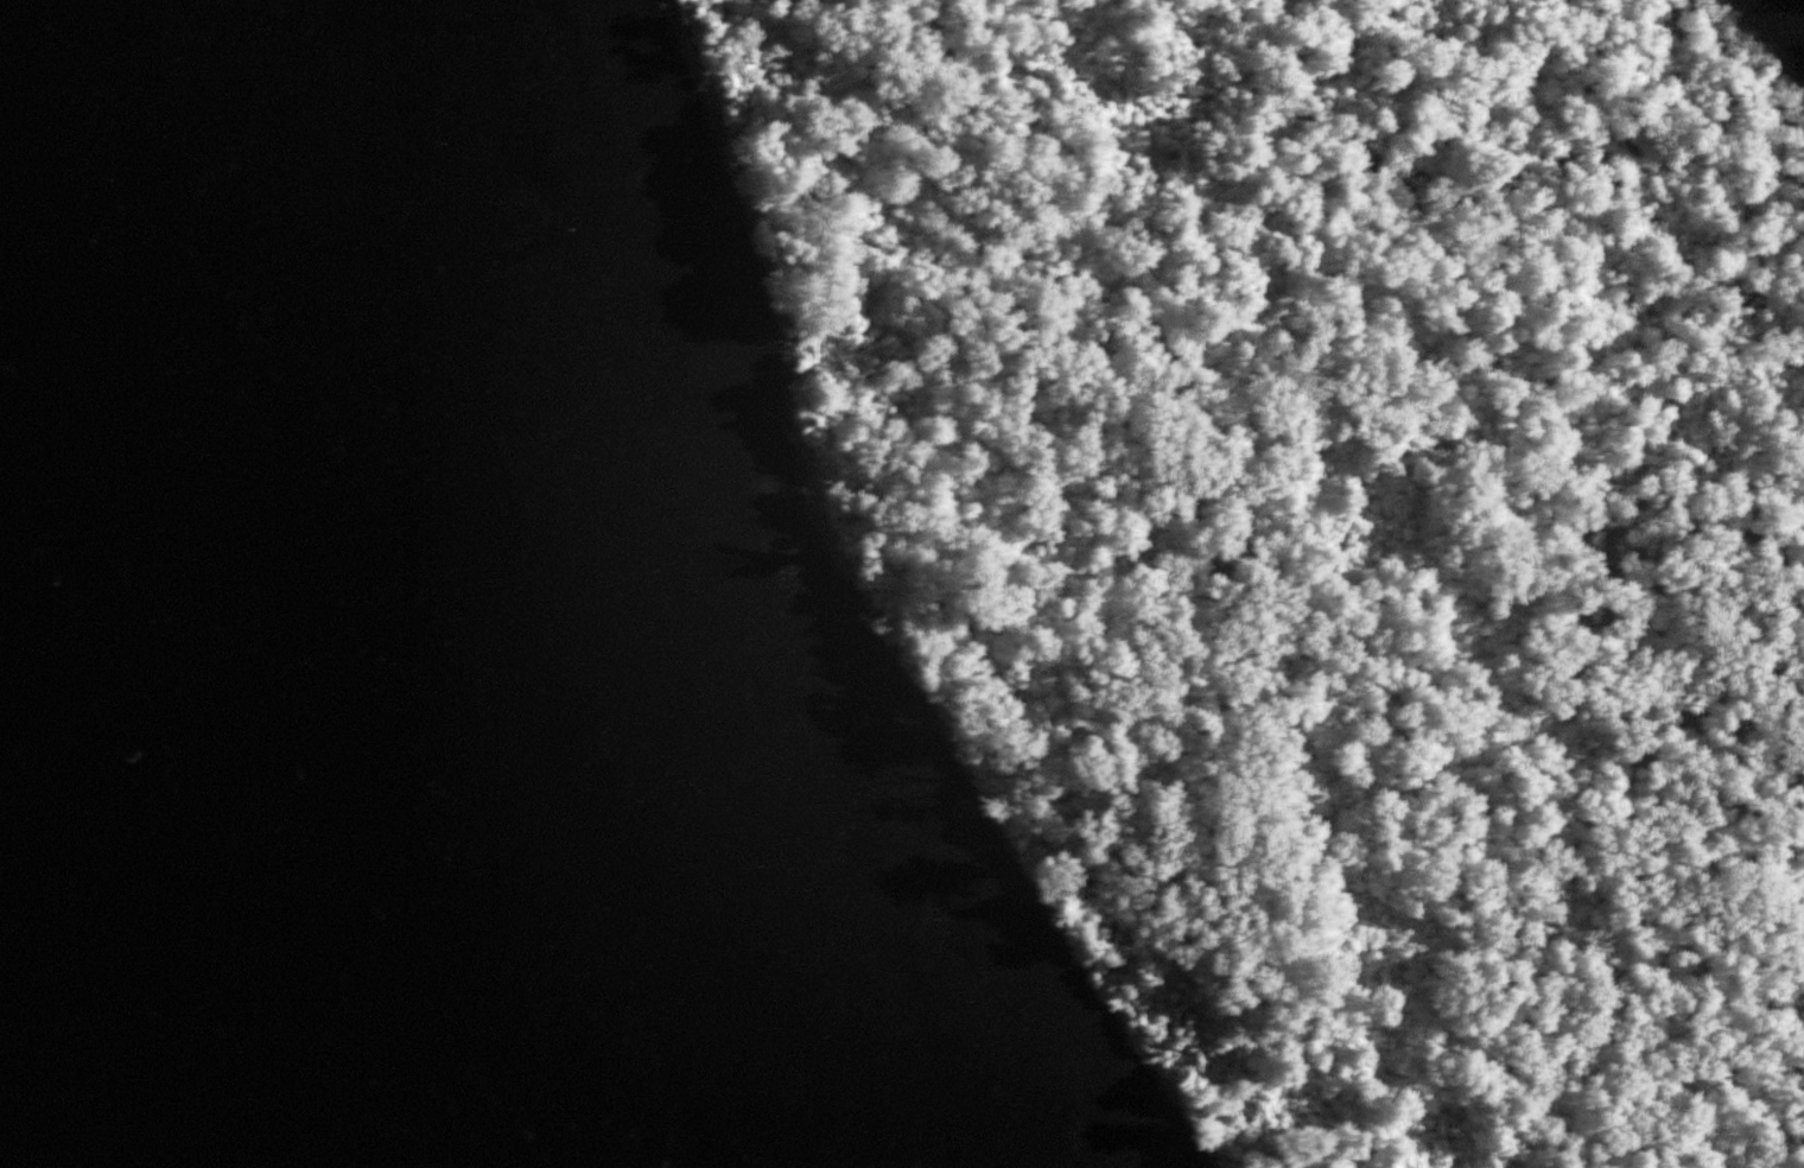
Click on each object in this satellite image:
river: (88, 996)

